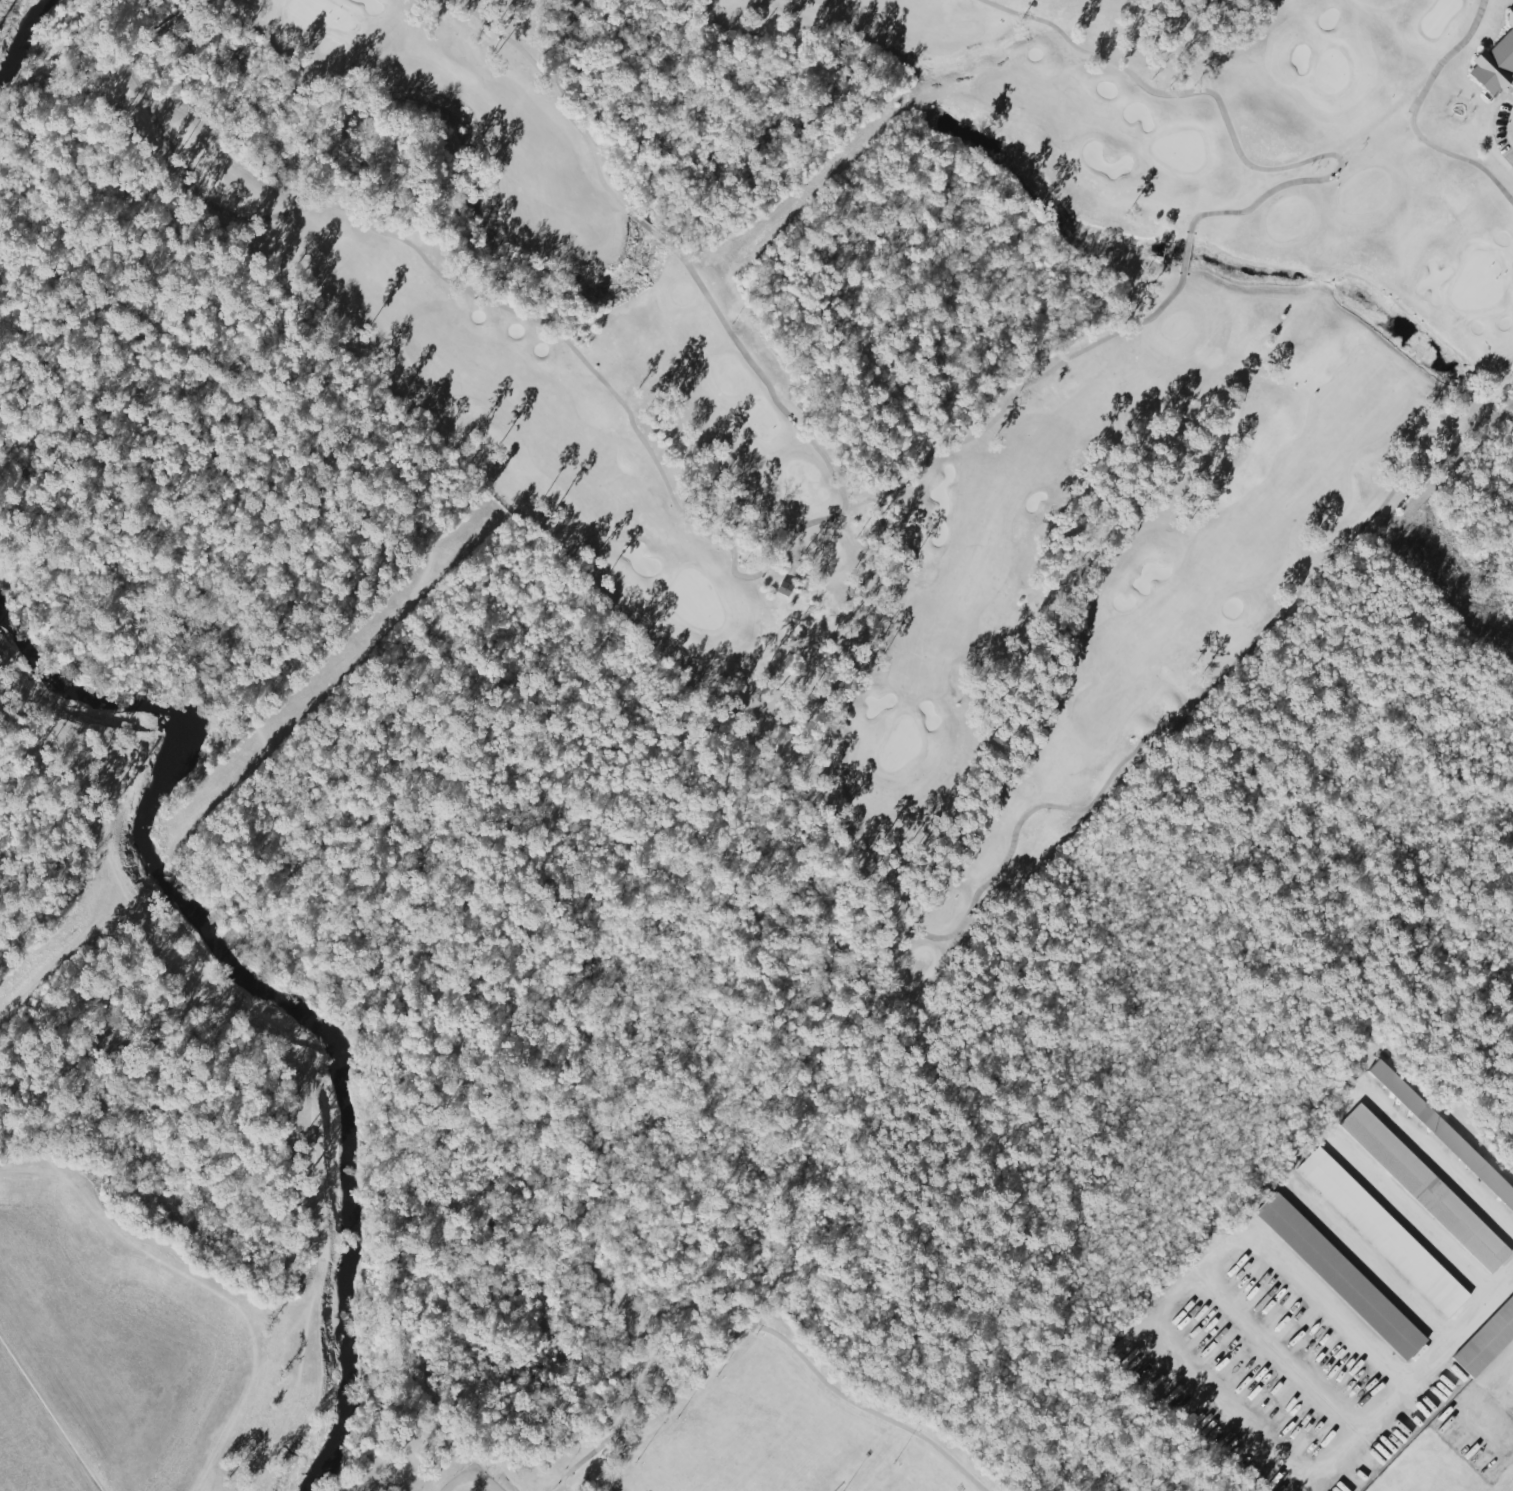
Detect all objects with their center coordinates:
river: (18, 19)
building: (1493, 65)
road: (1511, 127)
park: (801, 456)
building: (783, 589)
road: (435, 748)
road: (354, 817)
river: (268, 987)
park: (451, 1100)
building: (1443, 1133)
road: (1445, 1153)
building: (1422, 1187)
road: (1414, 1216)
building: (1381, 1232)
road: (1372, 1265)
building: (1339, 1276)
road: (772, 1332)
building: (1486, 1340)
road: (1378, 1358)
road: (1490, 1415)
park: (757, 1437)
road: (468, 1477)
park: (908, 1481)
parking lot: (564, 1488)

